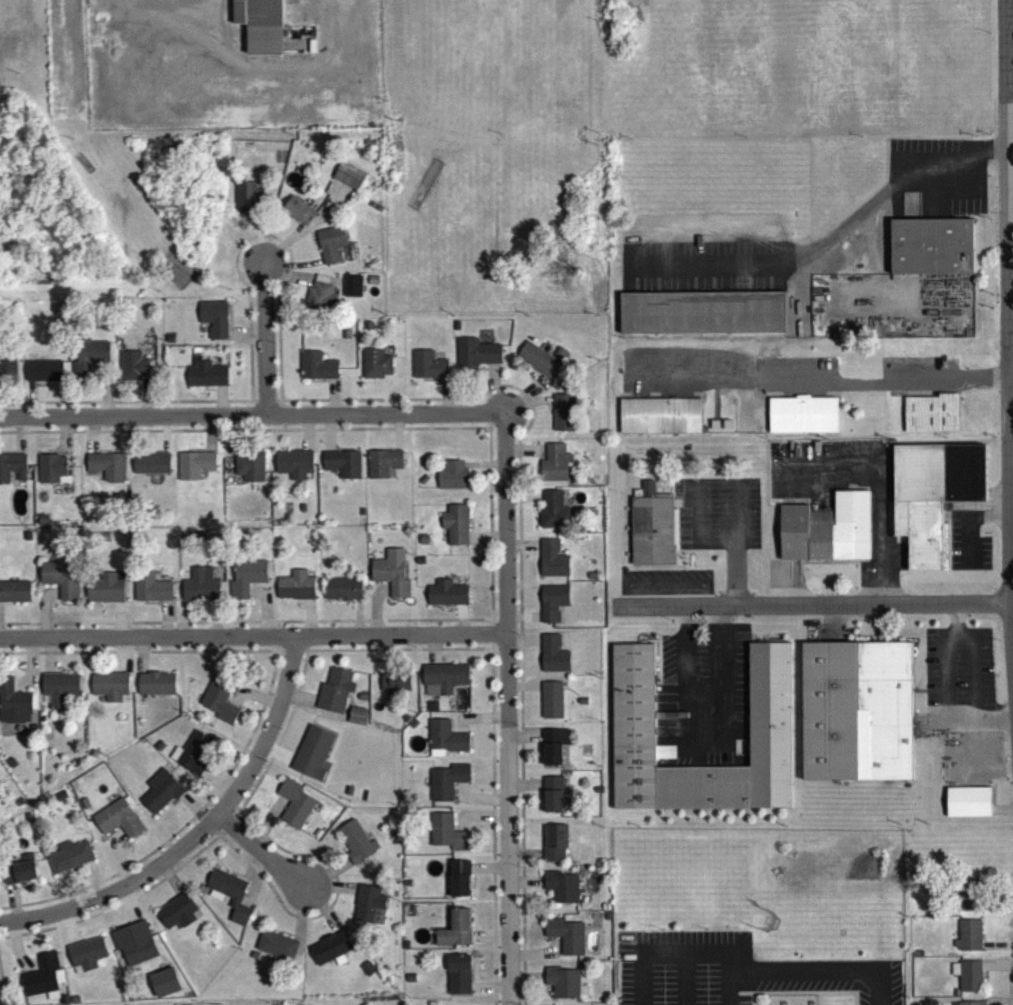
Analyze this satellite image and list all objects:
building: (260, 27)
road: (73, 48)
road: (256, 75)
road: (1010, 126)
building: (368, 147)
road: (947, 169)
building: (349, 180)
parking lot: (937, 180)
building: (423, 190)
road: (910, 190)
building: (247, 201)
road: (343, 203)
road: (910, 211)
road: (870, 213)
building: (299, 214)
road: (1011, 226)
road: (306, 232)
road: (256, 241)
road: (258, 242)
street lamp: (271, 246)
building: (330, 248)
building: (931, 251)
road: (767, 270)
road: (292, 271)
parking lot: (704, 271)
building: (178, 272)
road: (300, 281)
building: (320, 283)
building: (372, 284)
building: (351, 291)
road: (909, 293)
road: (842, 300)
building: (320, 301)
road: (1009, 314)
building: (702, 317)
building: (213, 323)
road: (1011, 323)
building: (367, 330)
building: (455, 330)
road: (244, 337)
building: (346, 339)
building: (169, 343)
road: (263, 343)
street lamp: (273, 349)
building: (476, 357)
building: (88, 362)
building: (537, 364)
building: (374, 368)
building: (427, 369)
building: (132, 370)
building: (316, 371)
building: (8, 372)
building: (43, 375)
building: (205, 378)
road: (819, 380)
road: (104, 394)
road: (491, 394)
road: (533, 395)
road: (386, 399)
road: (144, 400)
road: (445, 400)
road: (331, 401)
road: (29, 403)
road: (525, 403)
road: (535, 404)
road: (219, 405)
road: (264, 405)
road: (276, 405)
road: (124, 407)
road: (279, 408)
road: (511, 413)
building: (562, 417)
building: (930, 418)
road: (251, 419)
building: (802, 419)
road: (280, 420)
building: (659, 420)
road: (495, 426)
street lamp: (412, 429)
street lamp: (524, 429)
building: (714, 429)
building: (726, 429)
street lamp: (267, 431)
street lamp: (137, 432)
road: (281, 432)
street lamp: (3, 433)
road: (339, 434)
road: (306, 437)
road: (327, 437)
road: (396, 437)
road: (64, 438)
road: (164, 438)
road: (209, 438)
road: (20, 439)
road: (92, 439)
road: (228, 441)
road: (524, 455)
building: (382, 467)
building: (150, 468)
building: (293, 468)
building: (341, 468)
building: (554, 468)
building: (194, 469)
road: (483, 469)
building: (106, 470)
building: (249, 470)
building: (12, 471)
building: (50, 472)
building: (451, 479)
building: (423, 484)
road: (881, 485)
road: (1012, 490)
building: (932, 498)
road: (522, 504)
road: (976, 511)
building: (301, 512)
building: (552, 515)
building: (361, 516)
parking lot: (820, 516)
parking lot: (717, 518)
building: (42, 523)
building: (455, 529)
building: (651, 533)
road: (966, 533)
building: (826, 535)
building: (406, 536)
street lamp: (514, 537)
road: (485, 543)
building: (423, 544)
road: (717, 547)
parking lot: (967, 547)
road: (521, 549)
road: (1012, 555)
road: (677, 556)
building: (551, 564)
building: (418, 565)
road: (681, 565)
building: (390, 577)
road: (735, 579)
building: (61, 582)
building: (246, 582)
parking lot: (664, 587)
road: (794, 587)
road: (665, 589)
building: (199, 591)
building: (295, 591)
building: (150, 592)
building: (105, 593)
building: (342, 593)
building: (15, 596)
building: (446, 598)
road: (1012, 599)
road: (664, 601)
building: (552, 607)
road: (810, 610)
road: (373, 611)
road: (263, 612)
road: (41, 613)
road: (356, 621)
road: (522, 621)
road: (215, 622)
road: (309, 622)
road: (118, 623)
road: (164, 623)
road: (460, 624)
road: (955, 624)
road: (384, 625)
road: (137, 627)
road: (275, 629)
street lamp: (415, 629)
road: (831, 629)
street lamp: (292, 630)
street lamp: (153, 631)
street lamp: (21, 633)
road: (490, 638)
street lamp: (514, 638)
road: (252, 640)
road: (958, 640)
road: (275, 641)
road: (522, 644)
road: (490, 650)
road: (433, 654)
road: (291, 655)
road: (503, 656)
road: (140, 657)
road: (492, 657)
road: (385, 658)
road: (49, 659)
road: (123, 659)
road: (140, 659)
building: (552, 659)
road: (29, 671)
parking lot: (958, 674)
building: (444, 681)
building: (395, 687)
building: (155, 688)
building: (110, 690)
building: (58, 693)
road: (522, 693)
building: (632, 694)
building: (333, 695)
road: (251, 700)
road: (297, 702)
building: (362, 702)
parking lot: (702, 702)
building: (219, 703)
building: (549, 704)
road: (34, 705)
building: (582, 706)
building: (14, 707)
building: (431, 711)
road: (505, 712)
road: (321, 716)
building: (857, 716)
road: (474, 717)
building: (356, 719)
building: (404, 723)
road: (962, 727)
building: (412, 728)
building: (769, 730)
street lamp: (516, 731)
building: (33, 734)
street lamp: (279, 734)
road: (492, 736)
road: (280, 739)
road: (523, 740)
road: (265, 742)
building: (445, 742)
road: (704, 742)
building: (158, 750)
building: (553, 750)
road: (276, 756)
building: (193, 757)
building: (311, 757)
building: (93, 758)
road: (970, 759)
parking lot: (970, 764)
building: (10, 767)
road: (991, 773)
building: (633, 777)
road: (217, 785)
building: (446, 785)
road: (523, 788)
building: (702, 792)
building: (596, 794)
building: (348, 795)
building: (160, 796)
building: (551, 798)
building: (59, 801)
road: (476, 803)
road: (223, 804)
building: (967, 806)
building: (84, 808)
building: (294, 808)
building: (0, 814)
road: (193, 814)
road: (1001, 814)
road: (234, 815)
road: (477, 821)
building: (26, 822)
building: (116, 823)
road: (201, 823)
road: (267, 826)
road: (520, 826)
road: (183, 829)
road: (209, 833)
road: (224, 833)
building: (317, 838)
building: (447, 838)
street lamp: (210, 841)
building: (355, 846)
building: (553, 848)
road: (259, 856)
road: (524, 860)
road: (116, 861)
building: (69, 863)
road: (488, 872)
street lamp: (516, 872)
building: (18, 876)
road: (326, 877)
road: (251, 883)
building: (458, 883)
road: (169, 884)
road: (93, 885)
building: (405, 887)
road: (525, 887)
building: (561, 891)
road: (329, 892)
road: (111, 898)
building: (230, 899)
building: (970, 899)
street lamp: (282, 907)
road: (332, 907)
building: (367, 907)
road: (11, 908)
road: (120, 909)
road: (997, 909)
road: (128, 910)
building: (604, 911)
street lamp: (98, 914)
road: (320, 914)
building: (411, 915)
building: (177, 916)
building: (607, 921)
road: (299, 925)
road: (65, 933)
building: (454, 934)
road: (295, 940)
road: (488, 940)
building: (564, 940)
building: (967, 940)
building: (134, 948)
building: (276, 949)
building: (405, 949)
road: (996, 949)
building: (330, 953)
road: (15, 957)
building: (86, 958)
road: (533, 958)
road: (674, 959)
road: (996, 970)
building: (367, 973)
building: (383, 974)
parking lot: (735, 974)
road: (826, 978)
building: (458, 979)
road: (739, 979)
building: (966, 979)
building: (42, 981)
road: (525, 981)
building: (409, 982)
road: (682, 982)
building: (561, 986)
building: (164, 987)
road: (488, 990)
road: (730, 992)
road: (0, 998)
road: (797, 998)
road: (797, 998)
road: (751, 1001)
road: (818, 1001)
building: (61, 1002)
building: (74, 1002)

